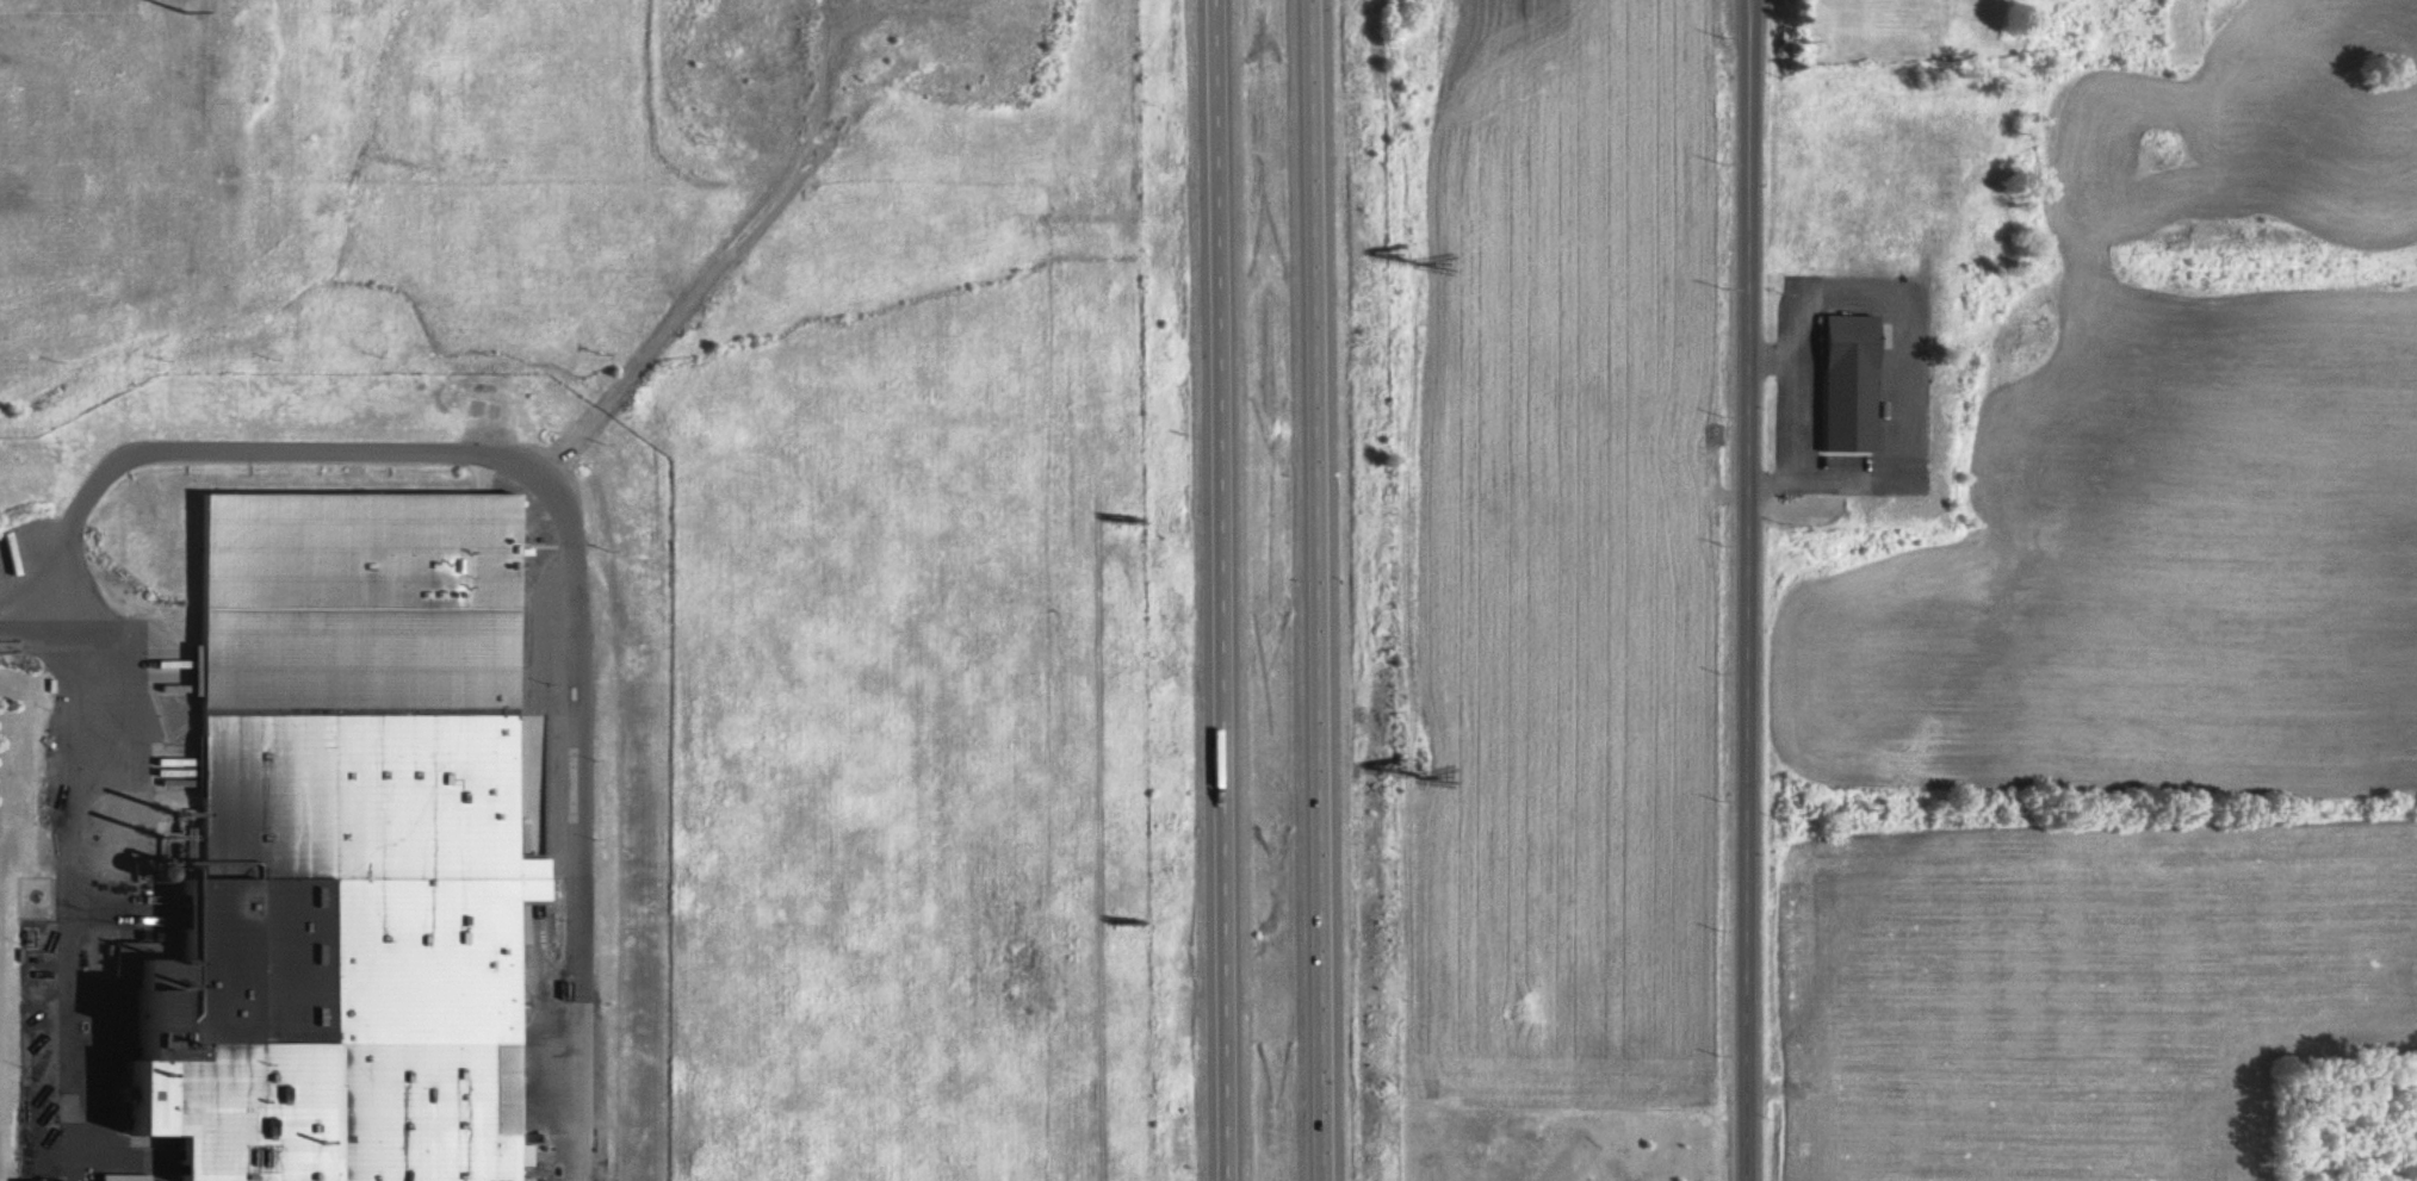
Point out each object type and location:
power tower: (185, 12)
building: (1829, 392)
road: (562, 509)
road: (1220, 590)
road: (1315, 590)
road: (1743, 590)
road: (545, 627)
road: (36, 639)
road: (560, 723)
building: (342, 856)
road: (546, 862)
road: (74, 883)
building: (48, 1180)

